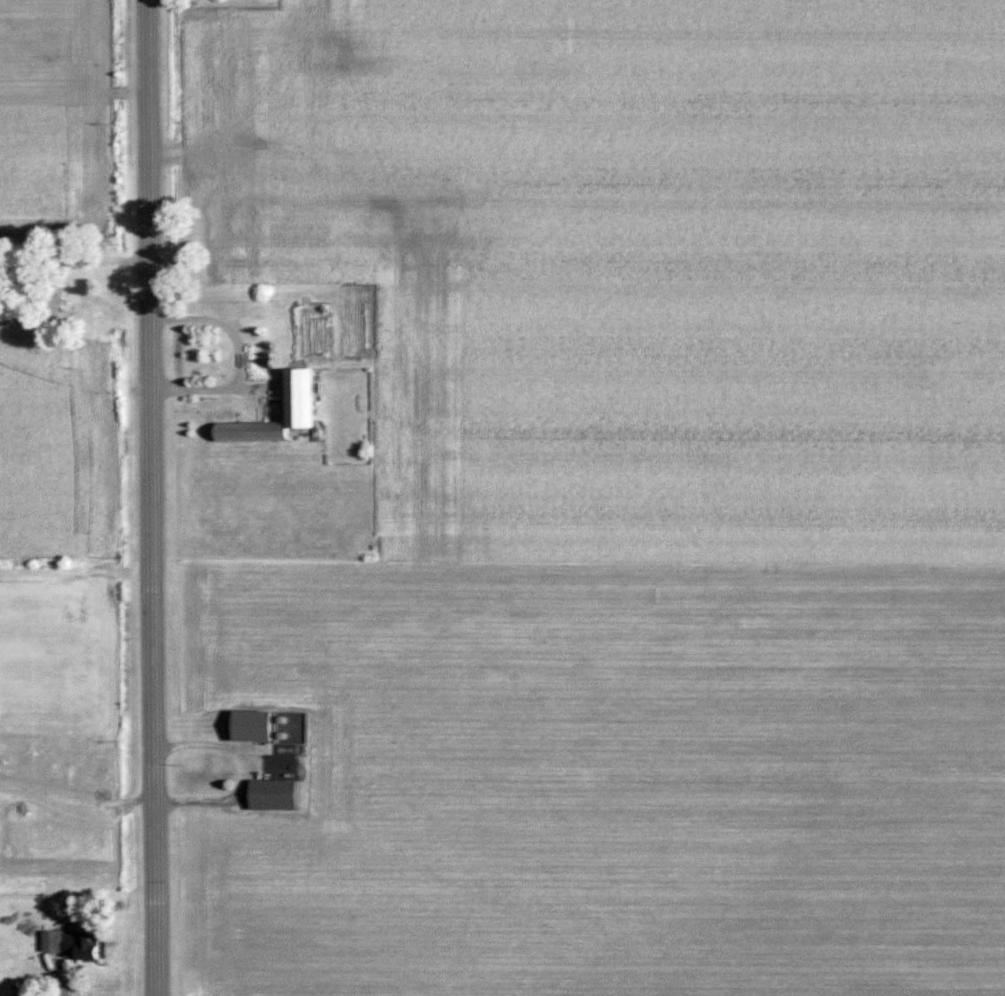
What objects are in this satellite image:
building: (304, 398)
road: (153, 498)
building: (210, 727)
building: (73, 944)

